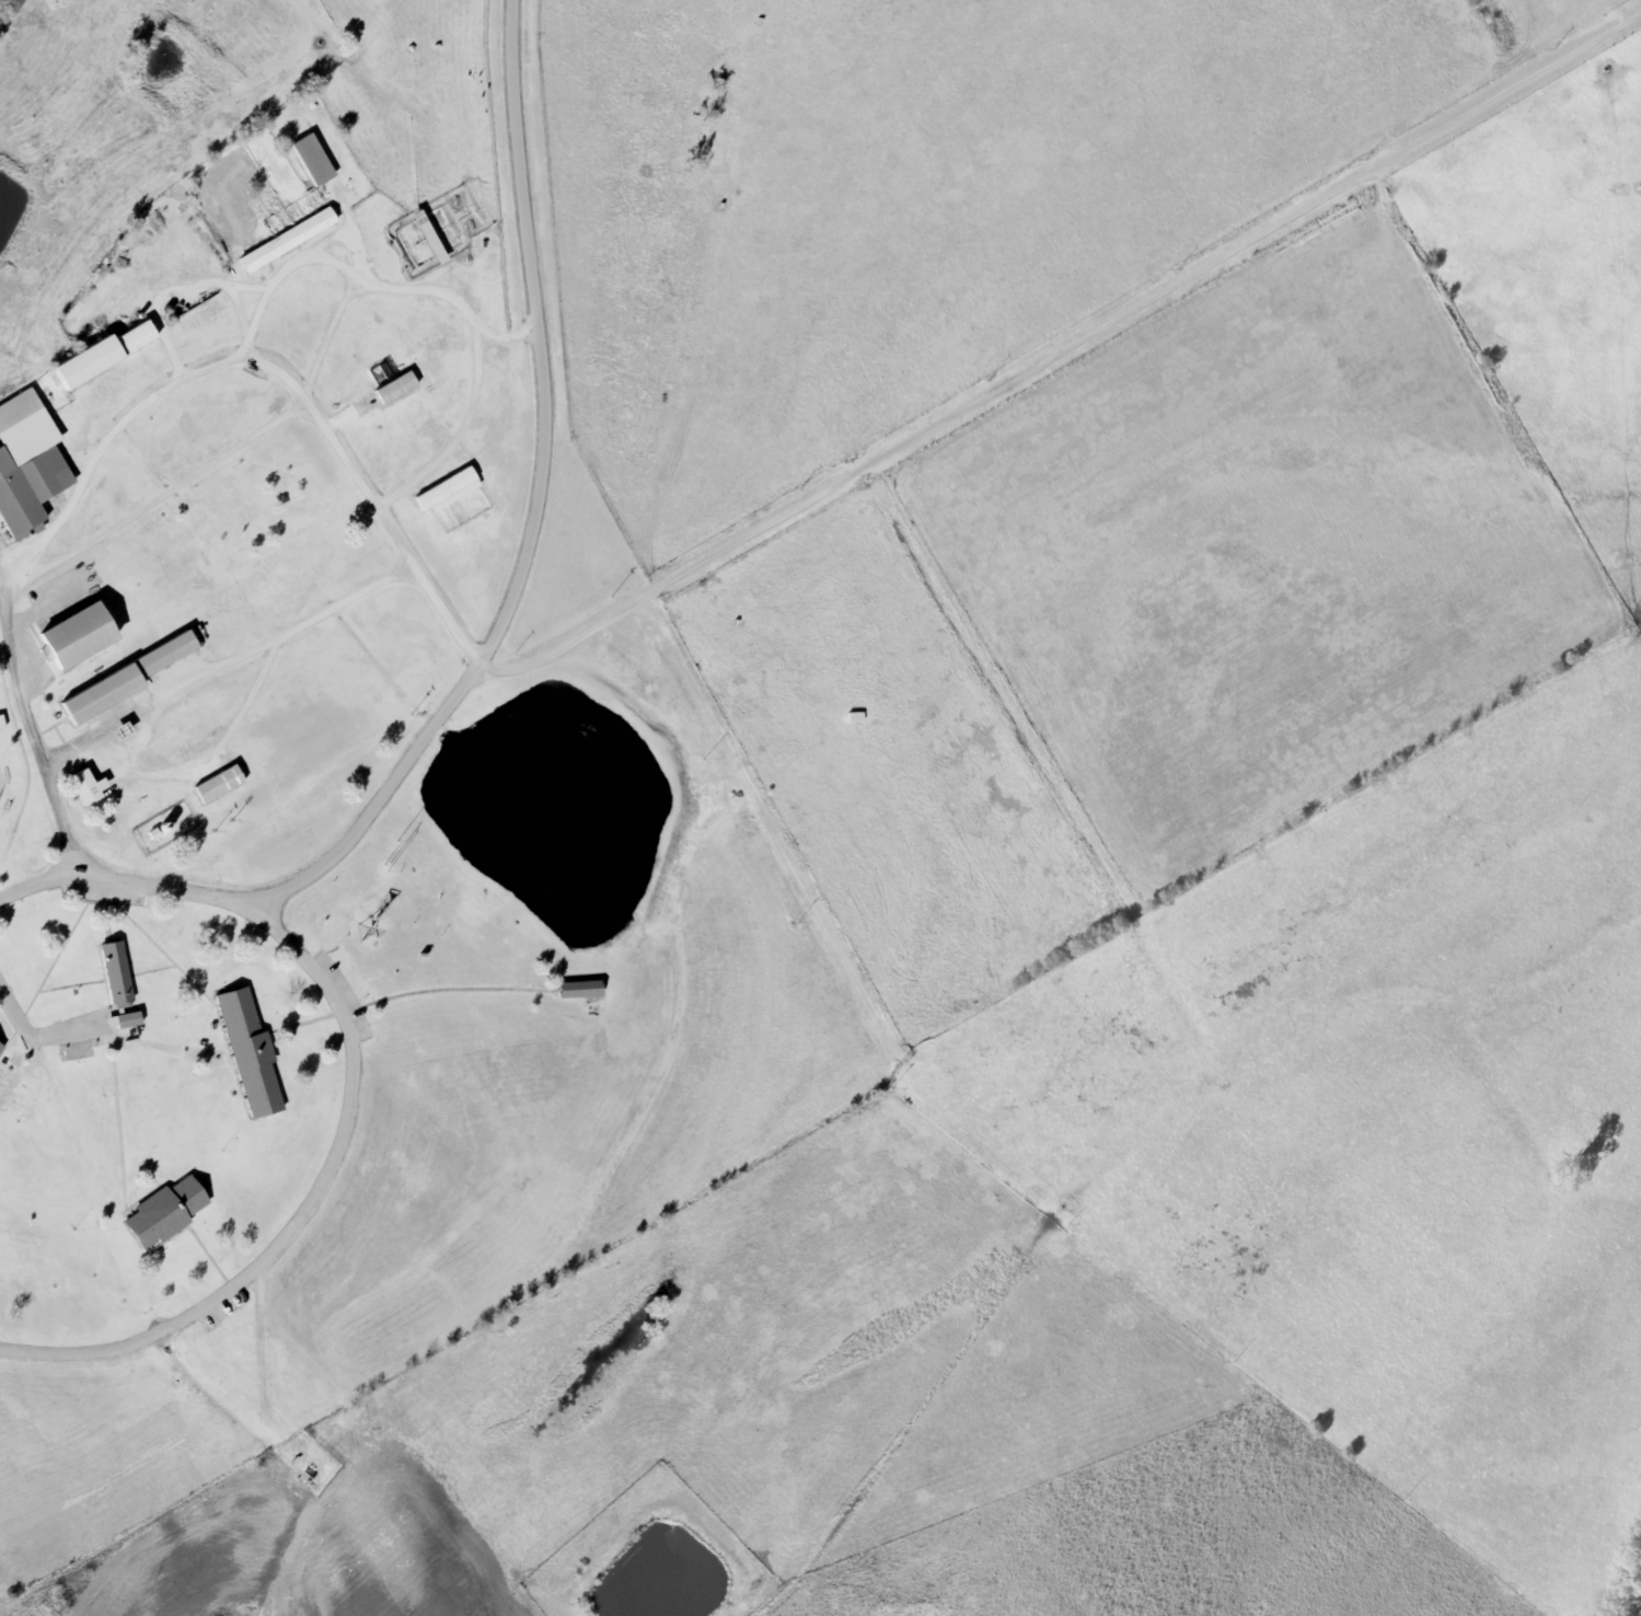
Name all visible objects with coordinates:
building: (313, 162)
building: (428, 238)
building: (288, 242)
building: (102, 356)
building: (395, 390)
building: (27, 465)
building: (447, 493)
road: (538, 504)
building: (76, 638)
building: (124, 682)
building: (855, 720)
building: (219, 786)
building: (88, 789)
building: (116, 977)
building: (577, 992)
building: (127, 1023)
building: (0, 1046)
building: (250, 1054)
road: (371, 1098)
building: (164, 1215)
building: (15, 1258)

